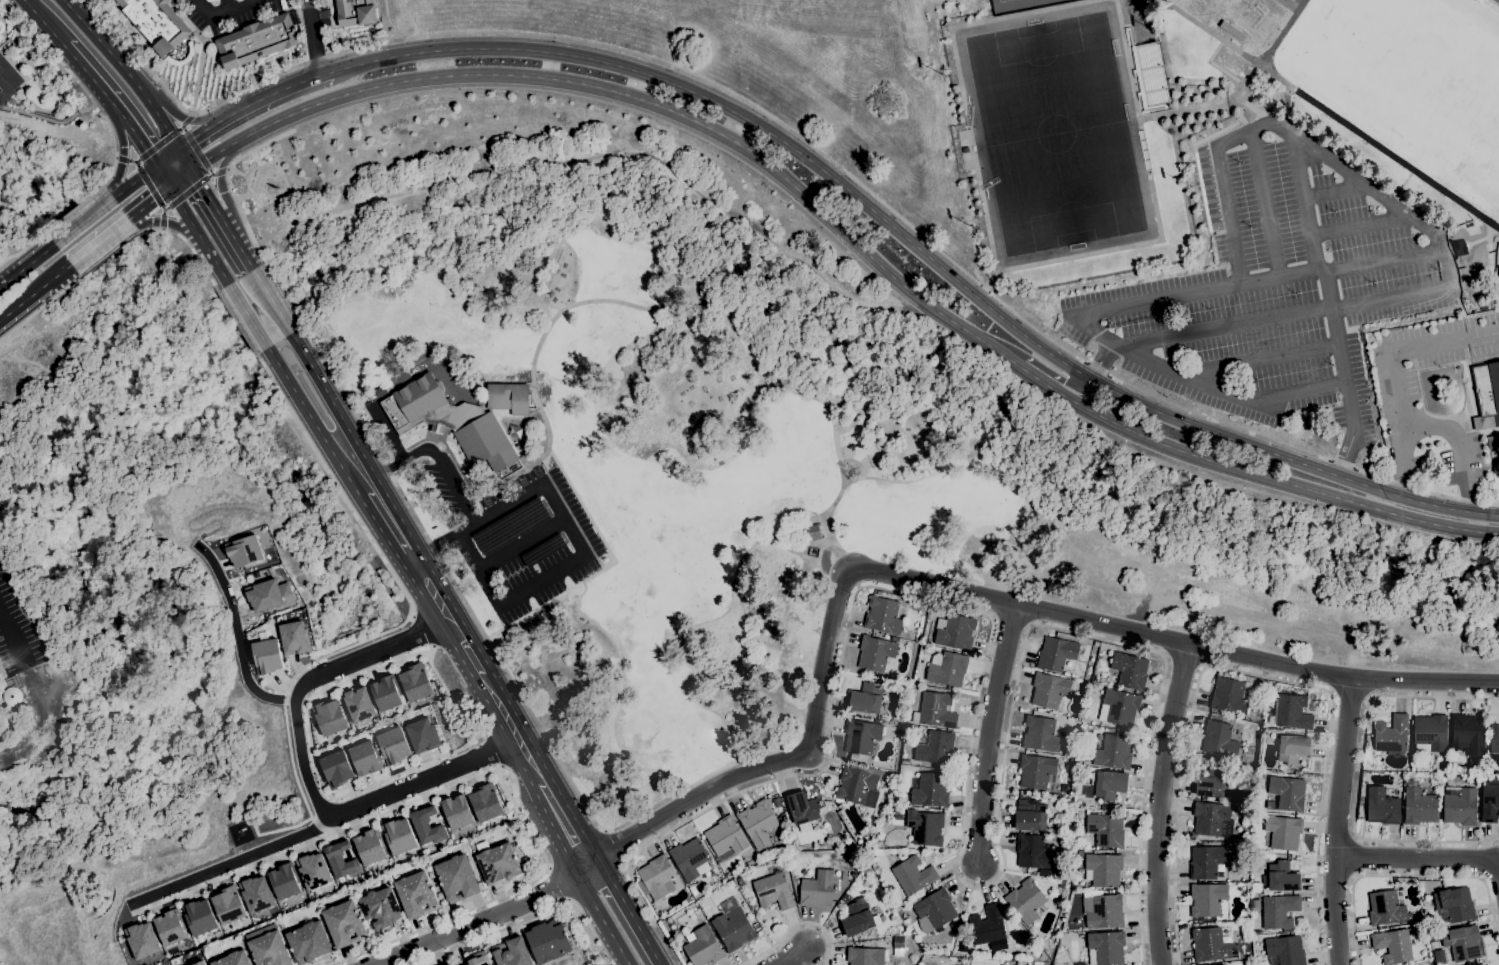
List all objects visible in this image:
park: (1000, 0)
building: (1291, 0)
road: (229, 5)
parking lot: (228, 10)
road: (222, 12)
building: (355, 13)
road: (43, 23)
building: (156, 23)
road: (312, 38)
building: (257, 41)
road: (100, 45)
building: (7, 80)
park: (1411, 80)
road: (79, 84)
road: (279, 90)
road: (637, 99)
road: (112, 104)
road: (1331, 114)
road: (180, 117)
road: (182, 119)
road: (165, 129)
road: (203, 131)
park: (1054, 132)
road: (800, 137)
road: (159, 144)
road: (195, 148)
traffic signals: (178, 149)
road: (120, 150)
road: (167, 157)
road: (127, 161)
road: (508, 163)
traffic signals: (156, 166)
traffic signals: (191, 171)
road: (216, 172)
road: (162, 177)
road: (180, 179)
road: (134, 182)
road: (148, 184)
traffic signals: (169, 188)
road: (221, 191)
road: (1335, 192)
road: (185, 194)
park: (1497, 194)
road: (148, 203)
road: (212, 204)
road: (1266, 205)
road: (1305, 205)
road: (74, 210)
road: (240, 212)
road: (184, 213)
road: (160, 220)
road: (83, 221)
road: (166, 223)
road: (1360, 226)
road: (744, 233)
road: (1435, 233)
road: (99, 242)
road: (188, 244)
road: (22, 249)
road: (919, 250)
road: (242, 253)
road: (109, 254)
road: (214, 261)
road: (724, 263)
road: (27, 265)
road: (834, 281)
parking lot: (1275, 284)
road: (707, 291)
road: (35, 292)
road: (281, 295)
road: (272, 301)
road: (40, 308)
road: (1115, 309)
road: (247, 315)
road: (237, 322)
road: (1410, 345)
parking lot: (1429, 350)
road: (1340, 352)
road: (1258, 360)
road: (1103, 361)
road: (1047, 371)
road: (533, 390)
building: (1486, 394)
building: (508, 398)
road: (817, 399)
building: (449, 421)
road: (313, 422)
building: (1493, 442)
road: (1459, 446)
road: (1346, 454)
road: (1402, 459)
road: (437, 461)
building: (507, 470)
road: (1251, 472)
road: (900, 480)
road: (543, 486)
park: (685, 492)
road: (590, 520)
building: (510, 525)
road: (381, 531)
building: (813, 532)
parking lot: (518, 535)
road: (448, 540)
road: (520, 541)
building: (543, 550)
building: (243, 552)
road: (413, 560)
building: (879, 593)
building: (266, 594)
road: (446, 594)
road: (967, 594)
road: (507, 600)
building: (883, 615)
road: (704, 621)
road: (1251, 622)
road: (7, 627)
road: (390, 629)
building: (955, 631)
road: (239, 632)
building: (910, 636)
building: (293, 638)
building: (894, 639)
building: (1096, 643)
road: (465, 645)
road: (488, 645)
building: (875, 653)
building: (1056, 653)
building: (266, 656)
road: (1184, 662)
building: (888, 667)
road: (466, 669)
building: (948, 669)
building: (1129, 671)
road: (1254, 674)
building: (414, 683)
building: (1262, 685)
building: (915, 686)
building: (1093, 686)
building: (949, 687)
building: (1049, 690)
building: (384, 693)
building: (1230, 694)
road: (1350, 695)
road: (618, 698)
building: (866, 699)
building: (357, 704)
building: (1121, 706)
building: (935, 710)
building: (1291, 712)
building: (328, 717)
building: (1078, 730)
building: (1430, 732)
road: (989, 734)
building: (1040, 734)
building: (1391, 734)
building: (1469, 734)
building: (420, 735)
building: (861, 736)
building: (1494, 738)
building: (1219, 739)
building: (392, 745)
building: (935, 748)
building: (1292, 749)
building: (1113, 751)
building: (363, 758)
building: (1073, 760)
building: (335, 768)
building: (1286, 769)
building: (1036, 770)
road: (1359, 773)
building: (1409, 773)
road: (305, 774)
building: (1108, 784)
building: (1214, 784)
building: (859, 785)
building: (929, 789)
road: (966, 790)
building: (1286, 793)
building: (1490, 801)
building: (776, 802)
building: (1079, 802)
building: (484, 803)
road: (1159, 803)
building: (833, 804)
building: (1418, 804)
building: (1459, 805)
building: (1103, 806)
building: (1382, 806)
building: (803, 809)
building: (456, 811)
building: (1065, 814)
building: (1030, 815)
building: (1210, 817)
building: (1076, 818)
road: (1337, 821)
building: (788, 823)
road: (551, 824)
building: (758, 824)
building: (426, 825)
building: (925, 828)
building: (1106, 829)
building: (1282, 832)
building: (398, 836)
building: (725, 838)
road: (613, 845)
building: (368, 847)
building: (1033, 852)
building: (1080, 852)
building: (869, 856)
road: (1354, 856)
building: (1271, 857)
road: (1421, 858)
building: (690, 859)
building: (340, 860)
building: (1207, 861)
road: (231, 862)
building: (498, 863)
building: (811, 865)
building: (1103, 869)
building: (312, 870)
building: (1081, 870)
building: (1049, 873)
building: (1059, 873)
building: (913, 875)
road: (1410, 875)
building: (655, 877)
building: (1281, 877)
building: (456, 878)
building: (740, 880)
building: (283, 881)
building: (1061, 884)
building: (817, 889)
building: (693, 890)
building: (850, 890)
building: (773, 891)
building: (1259, 892)
building: (255, 893)
building: (416, 894)
building: (845, 897)
building: (1207, 899)
building: (1027, 900)
building: (1455, 903)
building: (227, 905)
building: (936, 908)
building: (1386, 908)
building: (380, 909)
building: (1103, 909)
building: (1277, 910)
road: (465, 911)
road: (628, 911)
building: (198, 917)
road: (489, 918)
building: (700, 918)
building: (860, 918)
road: (525, 919)
road: (602, 919)
building: (344, 923)
road: (796, 924)
building: (987, 925)
building: (756, 926)
building: (169, 927)
building: (733, 928)
building: (142, 940)
building: (548, 941)
building: (308, 942)
building: (898, 942)
building: (1462, 942)
building: (1210, 944)
building: (1393, 945)
building: (703, 947)
building: (1105, 948)
building: (269, 949)
building: (1286, 950)
building: (512, 952)
road: (792, 956)
building: (865, 956)
building: (477, 958)
building: (233, 959)
building: (197, 963)
building: (1012, 963)
building: (448, 964)
building: (1481, 964)

